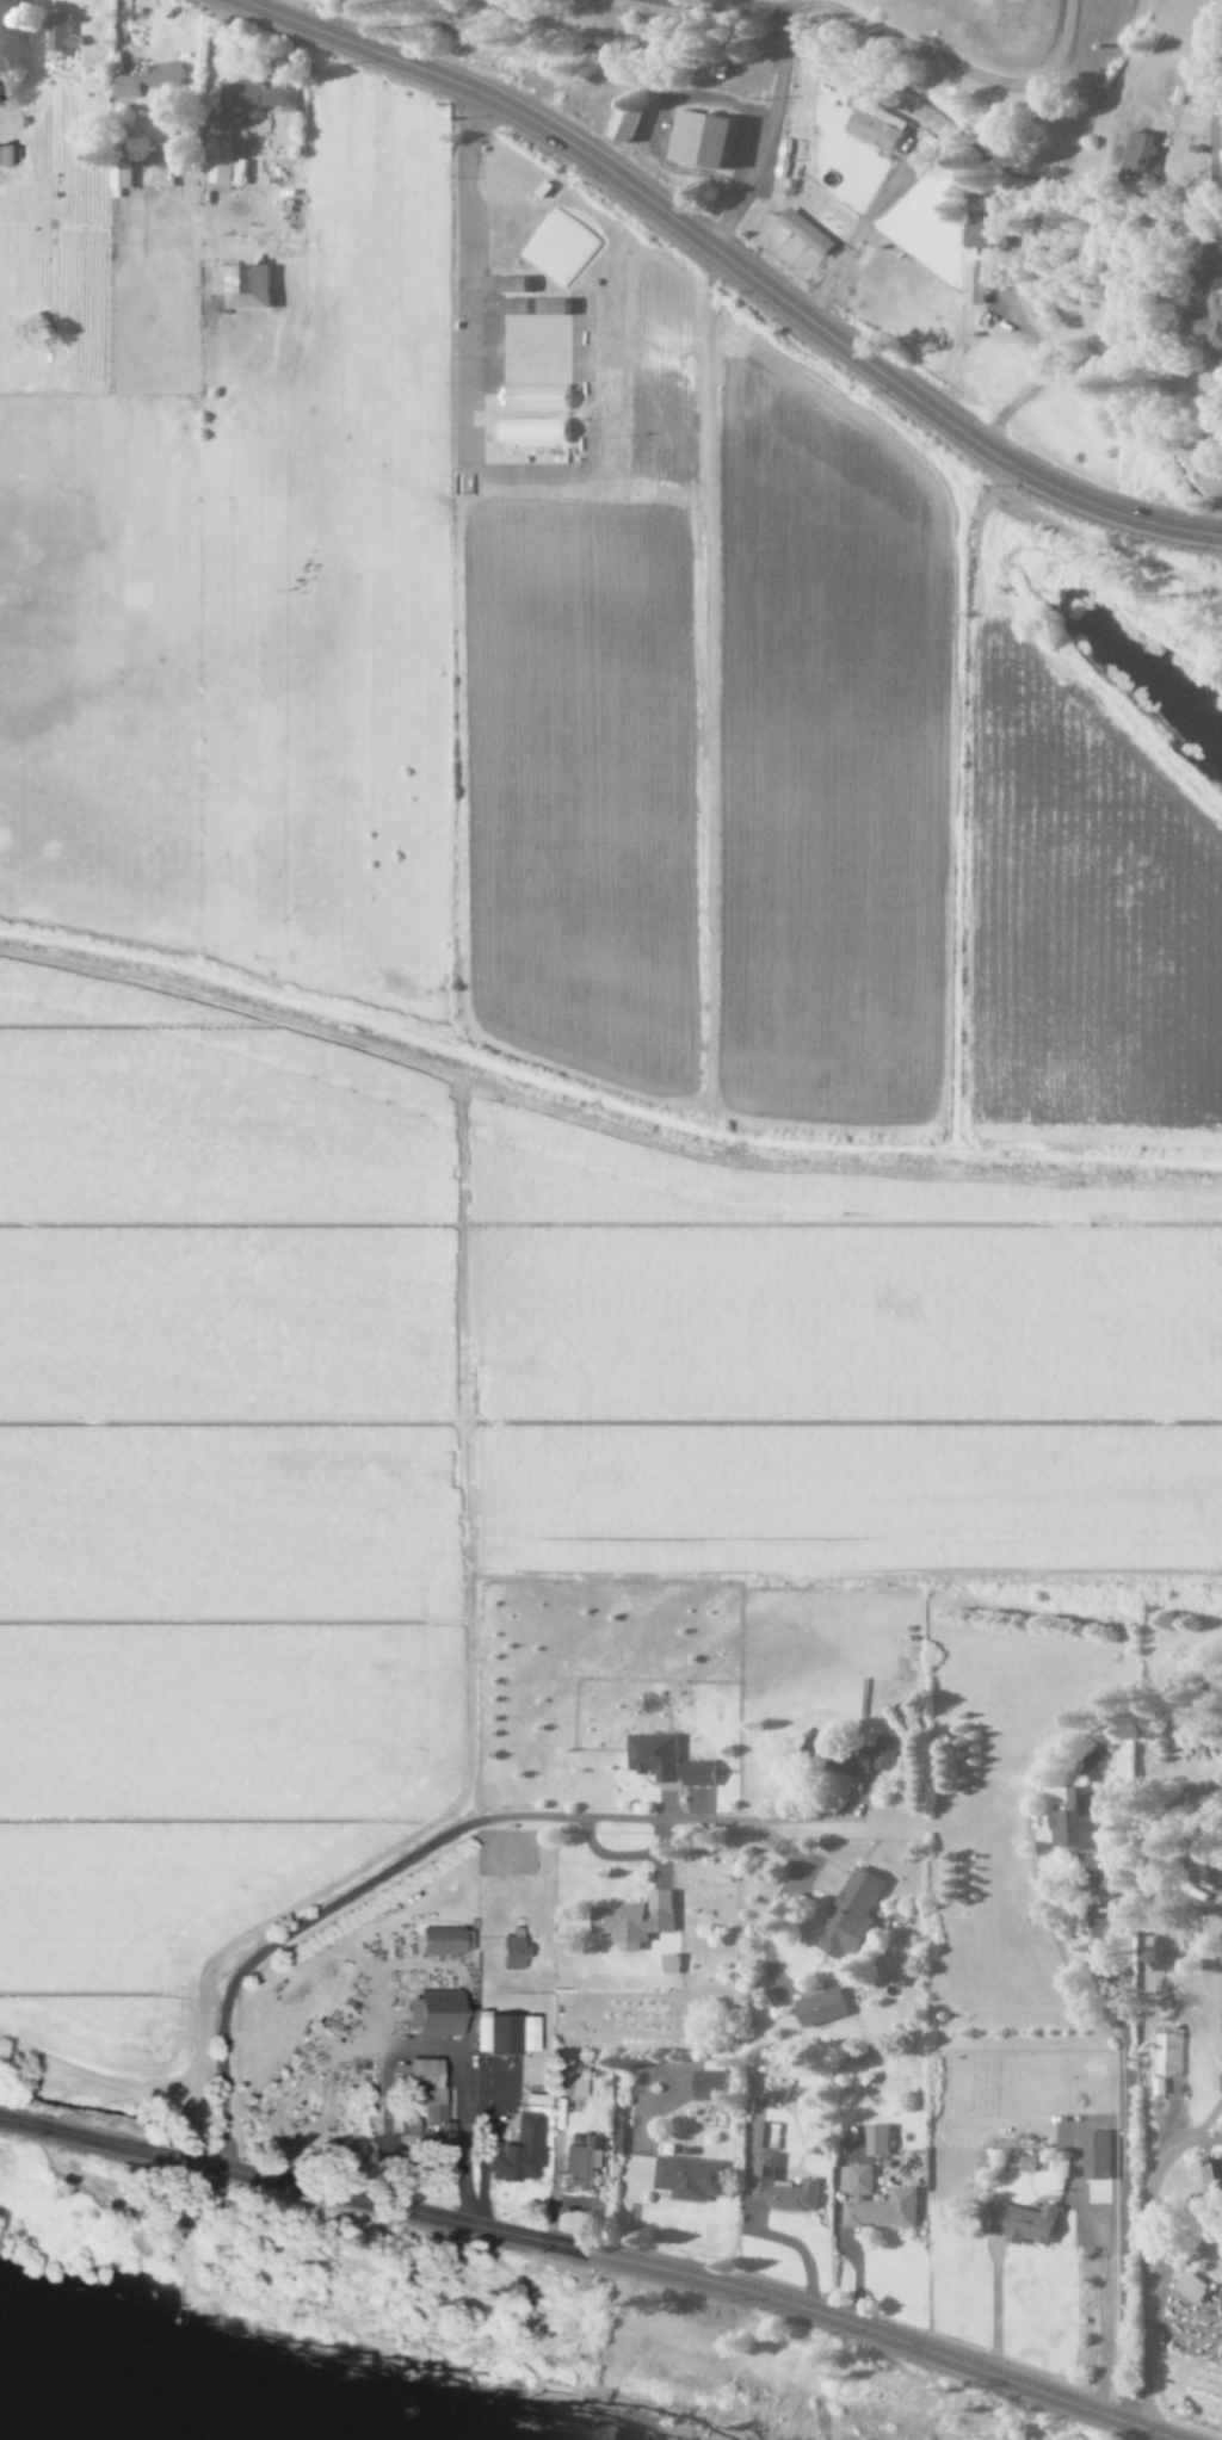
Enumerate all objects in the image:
building: (63, 33)
building: (261, 97)
building: (630, 125)
building: (877, 126)
building: (705, 140)
building: (222, 148)
building: (10, 156)
building: (1143, 160)
building: (122, 180)
road: (1215, 187)
building: (809, 231)
building: (990, 237)
road: (734, 265)
building: (548, 268)
building: (516, 285)
building: (245, 286)
building: (977, 286)
building: (1209, 325)
building: (537, 399)
building: (537, 432)
crop: (535, 1073)
building: (858, 1755)
building: (656, 1756)
building: (702, 1774)
building: (1076, 1821)
building: (856, 1917)
building: (637, 1921)
building: (445, 1941)
building: (516, 1951)
building: (672, 1964)
building: (823, 2008)
building: (439, 2014)
building: (508, 2034)
building: (1169, 2053)
building: (568, 2081)
building: (715, 2087)
building: (430, 2106)
building: (880, 2141)
building: (520, 2154)
building: (1098, 2155)
building: (584, 2163)
building: (1215, 2174)
building: (692, 2179)
building: (784, 2188)
building: (880, 2204)
building: (1023, 2224)
road: (593, 2254)
river: (286, 2403)

